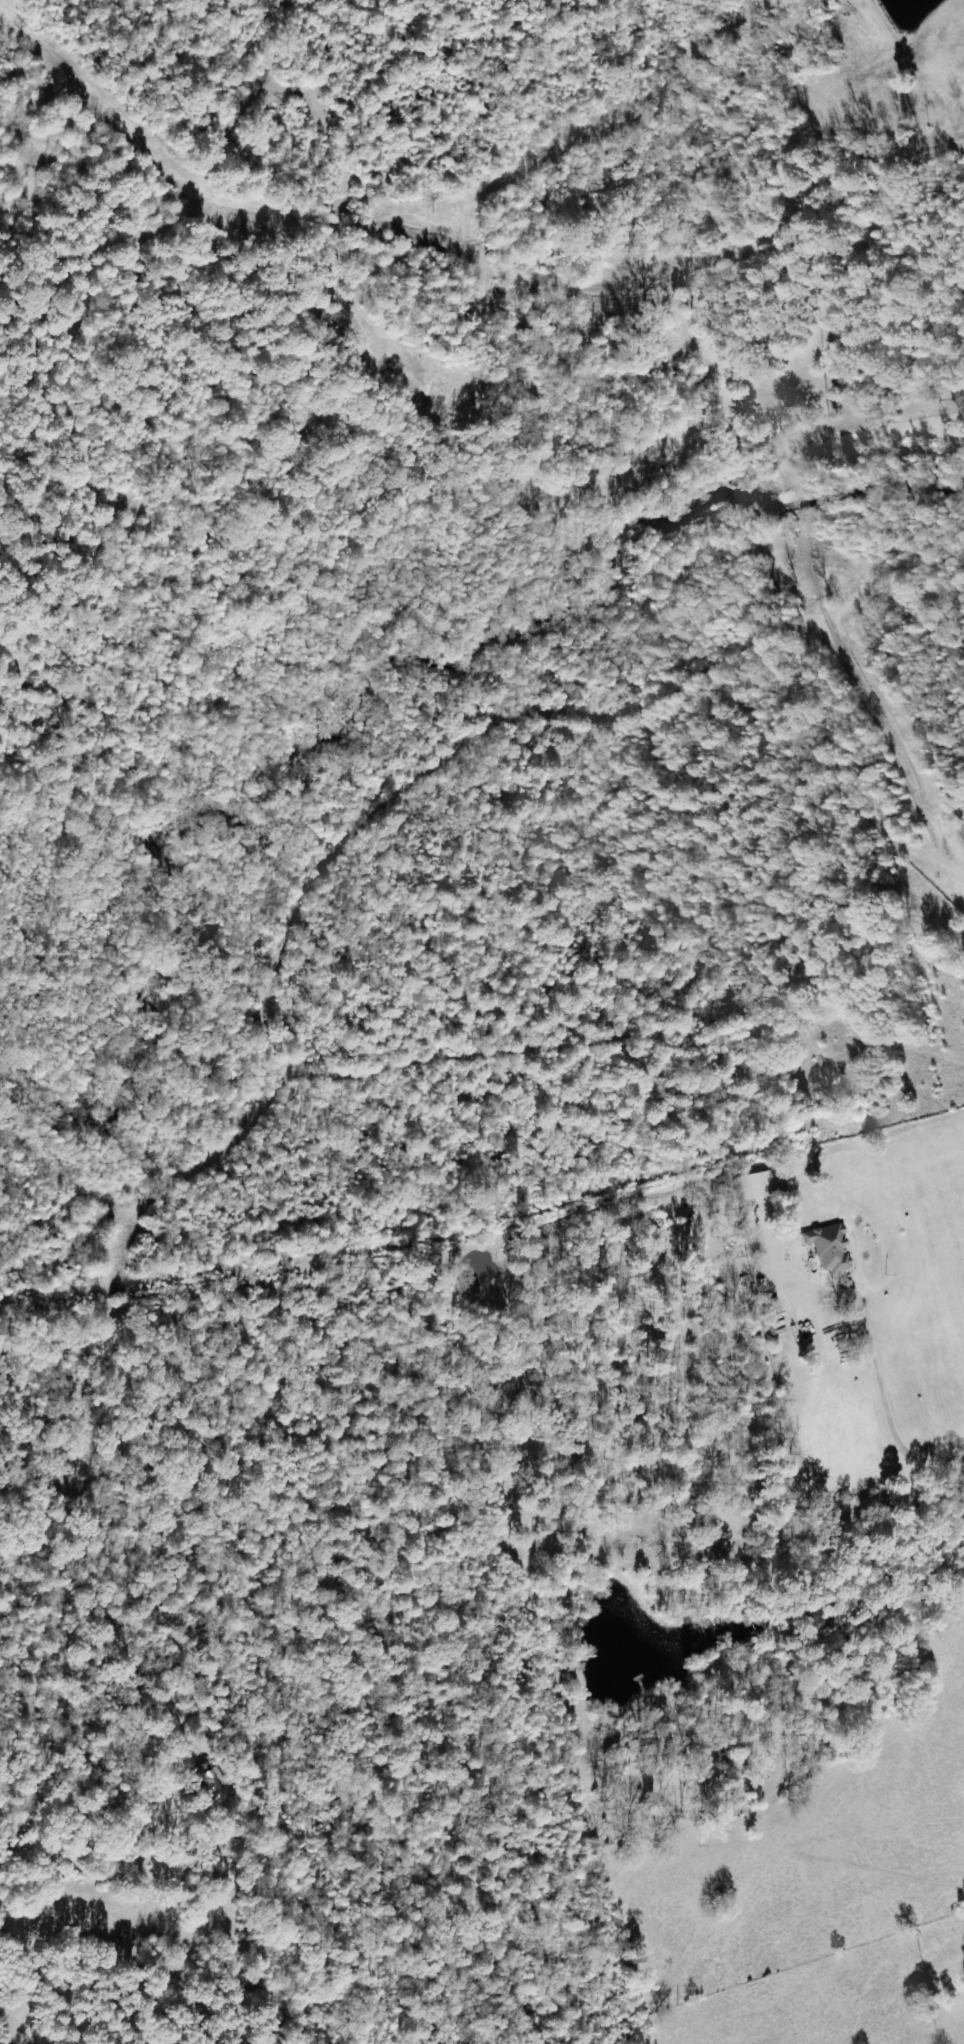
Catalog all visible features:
building: (757, 1185)
building: (829, 1247)
building: (206, 1777)

